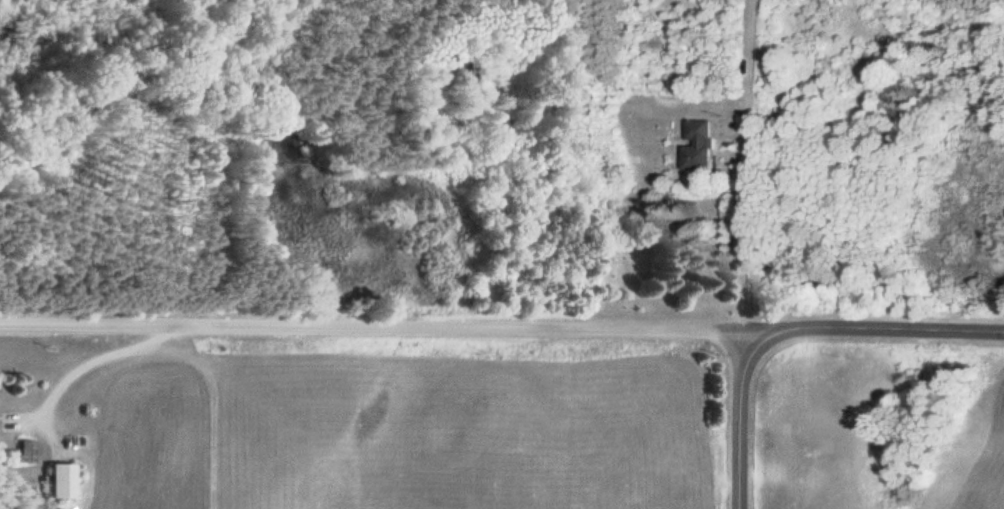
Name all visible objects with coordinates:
building: (697, 145)
road: (737, 164)
road: (367, 323)
road: (868, 327)
road: (734, 419)
building: (56, 482)

